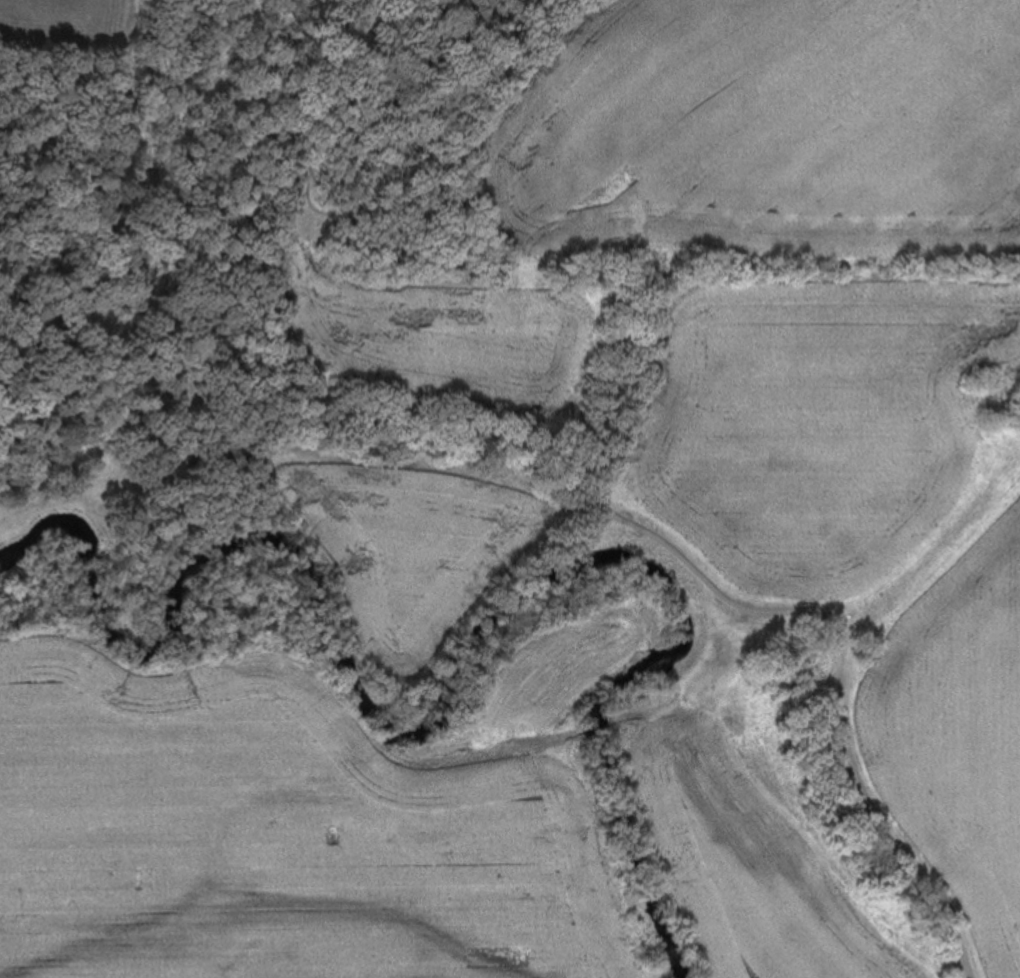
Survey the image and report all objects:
building: (150, 379)

